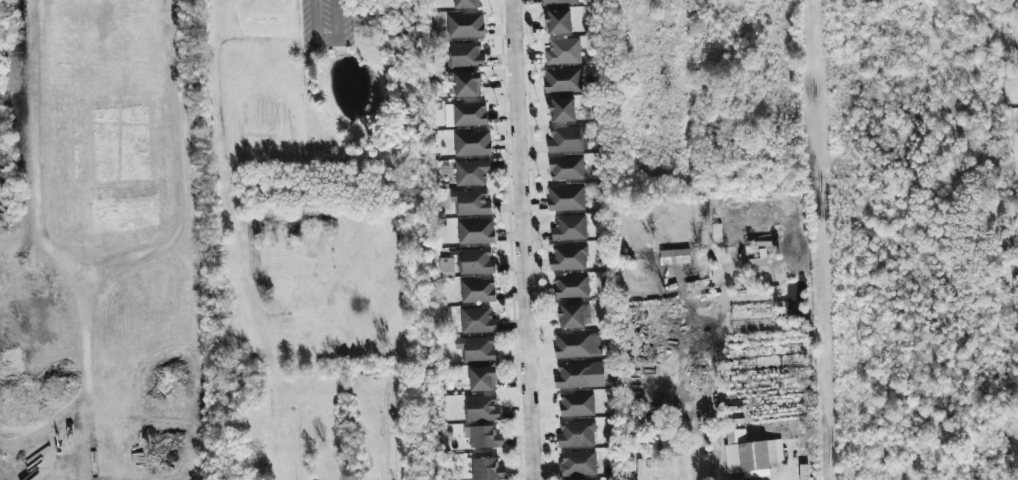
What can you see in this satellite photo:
building: (560, 2)
building: (1015, 3)
building: (466, 4)
building: (558, 21)
building: (465, 25)
building: (564, 51)
building: (466, 55)
building: (563, 80)
building: (465, 85)
building: (562, 110)
building: (465, 114)
building: (567, 140)
building: (472, 143)
building: (566, 168)
building: (471, 173)
building: (566, 198)
building: (471, 202)
building: (569, 228)
building: (476, 232)
road: (524, 240)
building: (674, 255)
building: (569, 258)
building: (476, 262)
building: (447, 267)
building: (571, 287)
building: (477, 291)
building: (574, 316)
building: (478, 321)
building: (578, 345)
building: (477, 349)
building: (580, 375)
building: (482, 379)
building: (577, 405)
building: (482, 409)
building: (576, 434)
building: (736, 436)
building: (483, 437)
building: (757, 455)
road: (717, 456)
building: (578, 463)
building: (487, 469)

